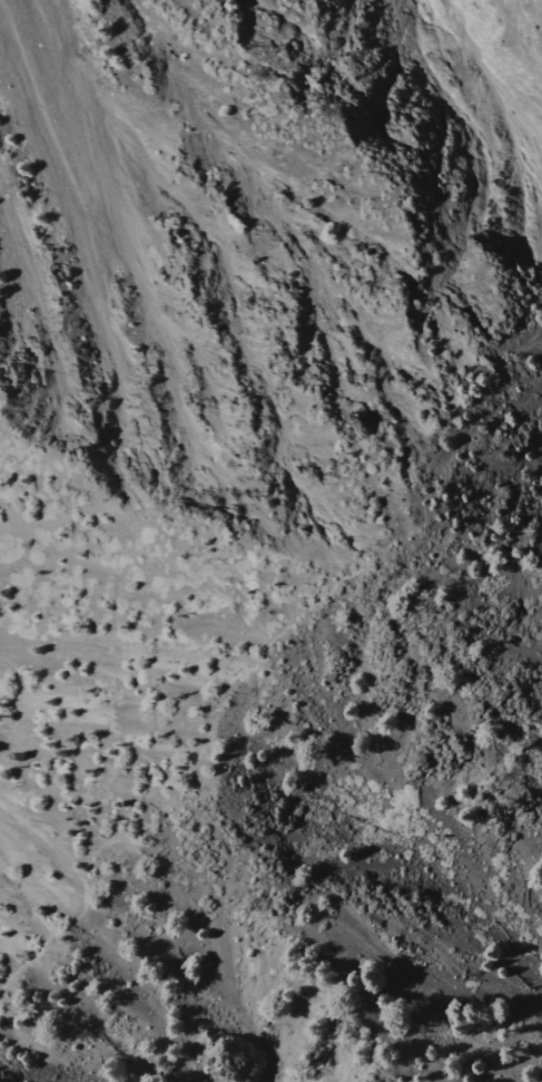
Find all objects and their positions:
road: (181, 771)

